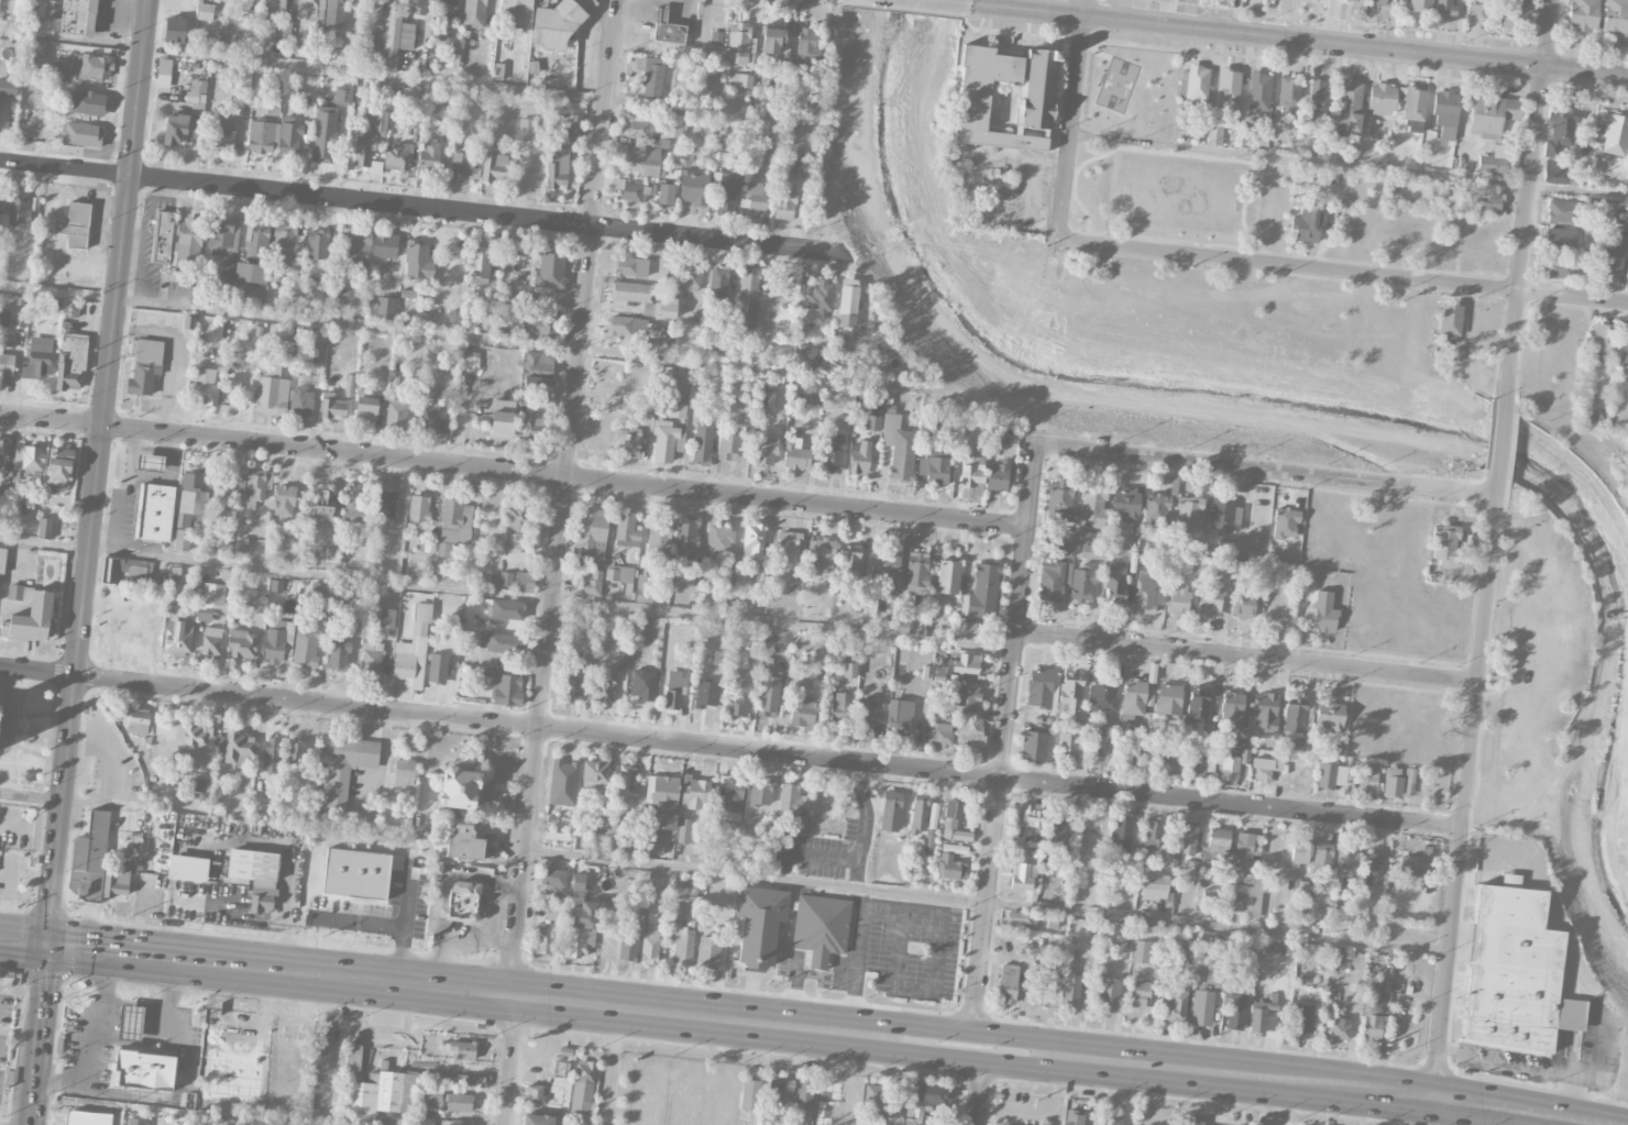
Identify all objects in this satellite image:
road: (947, 2)
building: (1378, 2)
building: (21, 3)
building: (392, 4)
building: (1420, 5)
building: (276, 7)
building: (415, 7)
building: (1445, 8)
building: (1480, 8)
building: (52, 9)
building: (446, 9)
road: (1085, 9)
building: (310, 10)
building: (206, 12)
building: (474, 13)
building: (1583, 14)
building: (514, 15)
gas station: (661, 15)
building: (662, 15)
building: (1516, 15)
building: (77, 18)
building: (1615, 18)
building: (557, 26)
building: (284, 29)
building: (174, 31)
building: (670, 35)
building: (393, 37)
building: (717, 37)
building: (219, 41)
building: (772, 41)
road: (1300, 41)
building: (806, 44)
building: (740, 45)
road: (1094, 49)
building: (342, 56)
building: (451, 60)
building: (95, 67)
building: (63, 70)
building: (164, 73)
building: (652, 77)
road: (408, 78)
building: (743, 80)
park: (1116, 84)
building: (1193, 84)
building: (8, 87)
building: (1228, 90)
building: (1288, 91)
building: (1258, 93)
building: (275, 95)
building: (342, 96)
building: (1319, 98)
building: (1035, 99)
building: (1382, 99)
building: (88, 102)
building: (1349, 104)
building: (1414, 104)
building: (1445, 113)
building: (1491, 115)
building: (413, 121)
building: (643, 126)
building: (674, 126)
building: (179, 129)
building: (1214, 129)
building: (526, 130)
building: (1560, 130)
building: (220, 133)
building: (1614, 133)
building: (81, 134)
building: (323, 134)
building: (275, 137)
building: (366, 140)
road: (1069, 148)
building: (397, 156)
building: (429, 156)
building: (685, 157)
road: (1212, 157)
park: (1154, 158)
building: (724, 159)
building: (642, 161)
building: (1495, 161)
road: (1349, 164)
building: (462, 165)
building: (801, 167)
building: (493, 168)
building: (557, 168)
building: (1554, 172)
building: (1627, 172)
road: (1074, 181)
building: (693, 188)
building: (630, 190)
building: (726, 191)
parking lot: (1031, 191)
building: (665, 195)
park: (1176, 196)
building: (1437, 196)
building: (755, 197)
building: (2, 201)
building: (1596, 201)
building: (1485, 202)
building: (784, 205)
road: (1530, 205)
road: (420, 207)
building: (19, 210)
building: (1562, 211)
road: (1086, 213)
building: (74, 225)
building: (1307, 228)
building: (222, 235)
building: (162, 238)
building: (255, 239)
building: (1561, 239)
building: (187, 241)
building: (317, 244)
building: (286, 245)
building: (385, 245)
building: (355, 252)
building: (1612, 254)
building: (418, 263)
building: (479, 265)
building: (631, 267)
building: (1555, 267)
road: (1342, 272)
building: (224, 273)
building: (250, 273)
building: (550, 273)
building: (690, 278)
building: (717, 282)
building: (630, 291)
building: (249, 296)
building: (748, 297)
building: (821, 299)
building: (847, 304)
building: (385, 308)
building: (665, 308)
building: (71, 309)
building: (3, 318)
building: (417, 319)
building: (1450, 319)
building: (628, 326)
building: (540, 327)
building: (286, 334)
road: (480, 335)
building: (1603, 338)
building: (1447, 339)
building: (664, 344)
building: (1624, 353)
building: (37, 359)
building: (539, 361)
building: (7, 365)
building: (144, 366)
building: (538, 374)
building: (66, 375)
building: (682, 380)
building: (232, 385)
building: (537, 385)
building: (204, 388)
building: (272, 389)
building: (843, 394)
building: (767, 399)
building: (300, 402)
building: (873, 405)
building: (365, 408)
building: (332, 409)
building: (676, 409)
building: (396, 412)
building: (431, 417)
building: (502, 419)
building: (872, 422)
building: (926, 423)
building: (532, 428)
building: (667, 441)
building: (631, 442)
building: (703, 444)
building: (728, 444)
road: (1504, 446)
building: (898, 448)
building: (4, 451)
building: (763, 451)
road: (158, 452)
building: (831, 452)
building: (795, 454)
building: (28, 456)
building: (859, 459)
building: (150, 462)
gas station: (150, 464)
building: (59, 467)
building: (934, 467)
road: (98, 471)
road: (514, 472)
road: (1267, 472)
building: (997, 476)
building: (971, 477)
building: (255, 488)
road: (122, 490)
building: (194, 494)
building: (222, 494)
road: (563, 499)
building: (284, 500)
building: (354, 501)
building: (1124, 504)
building: (386, 505)
building: (322, 507)
building: (418, 509)
building: (1156, 509)
building: (154, 512)
building: (1189, 516)
building: (1221, 516)
building: (516, 518)
building: (455, 522)
building: (1286, 523)
building: (593, 527)
building: (44, 528)
building: (626, 531)
building: (686, 537)
building: (659, 539)
building: (182, 540)
building: (754, 540)
building: (1165, 543)
building: (787, 545)
building: (1445, 545)
building: (427, 547)
building: (1065, 549)
building: (443, 550)
building: (1226, 550)
building: (1092, 552)
building: (330, 553)
building: (821, 555)
building: (1131, 556)
building: (3, 560)
building: (848, 561)
building: (884, 563)
building: (127, 573)
building: (916, 575)
building: (620, 576)
building: (948, 577)
building: (1053, 580)
building: (760, 581)
building: (524, 582)
building: (588, 584)
building: (1114, 584)
building: (1081, 585)
building: (276, 586)
building: (643, 588)
building: (1148, 591)
building: (15, 592)
building: (981, 593)
building: (213, 594)
road: (507, 595)
building: (344, 598)
building: (1178, 600)
building: (1210, 600)
building: (854, 603)
building: (1242, 604)
building: (869, 606)
building: (506, 609)
building: (1323, 613)
building: (387, 618)
building: (31, 619)
building: (455, 625)
building: (966, 631)
building: (178, 639)
building: (277, 640)
building: (211, 642)
building: (499, 643)
building: (245, 644)
building: (306, 646)
building: (413, 650)
building: (338, 654)
building: (718, 654)
building: (371, 659)
road: (1247, 659)
building: (967, 664)
building: (438, 669)
road: (37, 670)
building: (849, 670)
building: (943, 674)
building: (574, 681)
building: (643, 684)
building: (604, 685)
building: (505, 687)
building: (1039, 688)
building: (673, 690)
building: (1071, 692)
building: (769, 693)
building: (1103, 694)
building: (706, 695)
building: (964, 696)
building: (1133, 699)
building: (1168, 701)
building: (737, 704)
building: (1197, 705)
building: (0, 707)
building: (838, 709)
building: (1231, 709)
building: (804, 710)
building: (1265, 713)
building: (866, 714)
building: (900, 716)
building: (1330, 717)
building: (1294, 718)
building: (137, 725)
building: (939, 734)
building: (969, 736)
building: (195, 740)
road: (1005, 740)
building: (1036, 747)
building: (1068, 747)
building: (237, 750)
building: (1098, 750)
building: (296, 753)
road: (769, 753)
building: (271, 754)
building: (1131, 758)
building: (1169, 759)
building: (343, 766)
building: (1196, 768)
building: (1264, 769)
building: (1229, 771)
building: (404, 772)
building: (1330, 776)
building: (596, 777)
building: (626, 781)
building: (1409, 781)
building: (1393, 782)
building: (563, 783)
building: (198, 784)
building: (1367, 784)
building: (459, 788)
road: (1466, 792)
building: (695, 793)
building: (760, 793)
road: (31, 797)
building: (730, 799)
building: (661, 802)
building: (791, 803)
building: (890, 812)
building: (919, 814)
building: (953, 815)
building: (1032, 815)
building: (599, 821)
building: (1059, 821)
building: (802, 825)
building: (1122, 829)
building: (685, 831)
building: (617, 834)
building: (955, 835)
building: (1088, 835)
building: (1153, 836)
building: (635, 839)
building: (930, 839)
building: (1188, 839)
building: (463, 840)
building: (1218, 842)
building: (652, 843)
building: (1245, 846)
building: (1134, 853)
building: (1300, 853)
road: (809, 854)
building: (1322, 858)
building: (90, 860)
building: (1411, 865)
building: (1190, 867)
building: (1344, 867)
building: (1372, 867)
building: (949, 868)
building: (187, 869)
road: (452, 873)
building: (254, 876)
building: (553, 876)
building: (117, 881)
building: (577, 882)
building: (374, 884)
road: (508, 887)
building: (1156, 889)
building: (1299, 890)
building: (1248, 894)
building: (1210, 895)
road: (860, 896)
building: (463, 900)
road: (987, 904)
building: (551, 912)
building: (673, 914)
building: (1019, 918)
building: (759, 924)
building: (821, 928)
building: (581, 929)
road: (468, 937)
building: (543, 939)
traffic signals: (47, 944)
road: (48, 944)
building: (650, 944)
building: (683, 945)
building: (627, 948)
building: (1141, 951)
building: (707, 952)
road: (141, 955)
building: (1184, 968)
road: (936, 970)
building: (1515, 971)
road: (101, 973)
building: (1214, 978)
road: (175, 982)
building: (1007, 984)
building: (1069, 989)
building: (1107, 991)
building: (1372, 993)
building: (1137, 994)
road: (533, 1001)
building: (1173, 1006)
building: (1201, 1008)
building: (1234, 1011)
building: (1257, 1017)
building: (1301, 1022)
building: (130, 1023)
building: (1371, 1028)
building: (1340, 1029)
road: (967, 1032)
road: (38, 1034)
building: (463, 1049)
building: (320, 1050)
road: (964, 1056)
building: (353, 1061)
road: (506, 1061)
road: (1504, 1065)
road: (609, 1067)
building: (144, 1070)
road: (1592, 1079)
building: (466, 1081)
road: (65, 1084)
road: (1307, 1087)
building: (582, 1088)
building: (774, 1090)
building: (804, 1091)
road: (975, 1091)
building: (535, 1093)
building: (930, 1094)
building: (381, 1095)
building: (430, 1095)
building: (749, 1095)
building: (872, 1096)
road: (146, 1098)
building: (459, 1103)
building: (894, 1107)
road: (150, 1112)
road: (1039, 1112)
road: (1450, 1115)
building: (1074, 1117)
building: (86, 1118)
building: (427, 1118)
building: (1113, 1118)
building: (543, 1120)
building: (827, 1120)
building: (388, 1121)
building: (137, 1122)
building: (455, 1122)
building: (1190, 1123)
road: (1572, 1123)
building: (924, 1124)
road: (1572, 1124)

